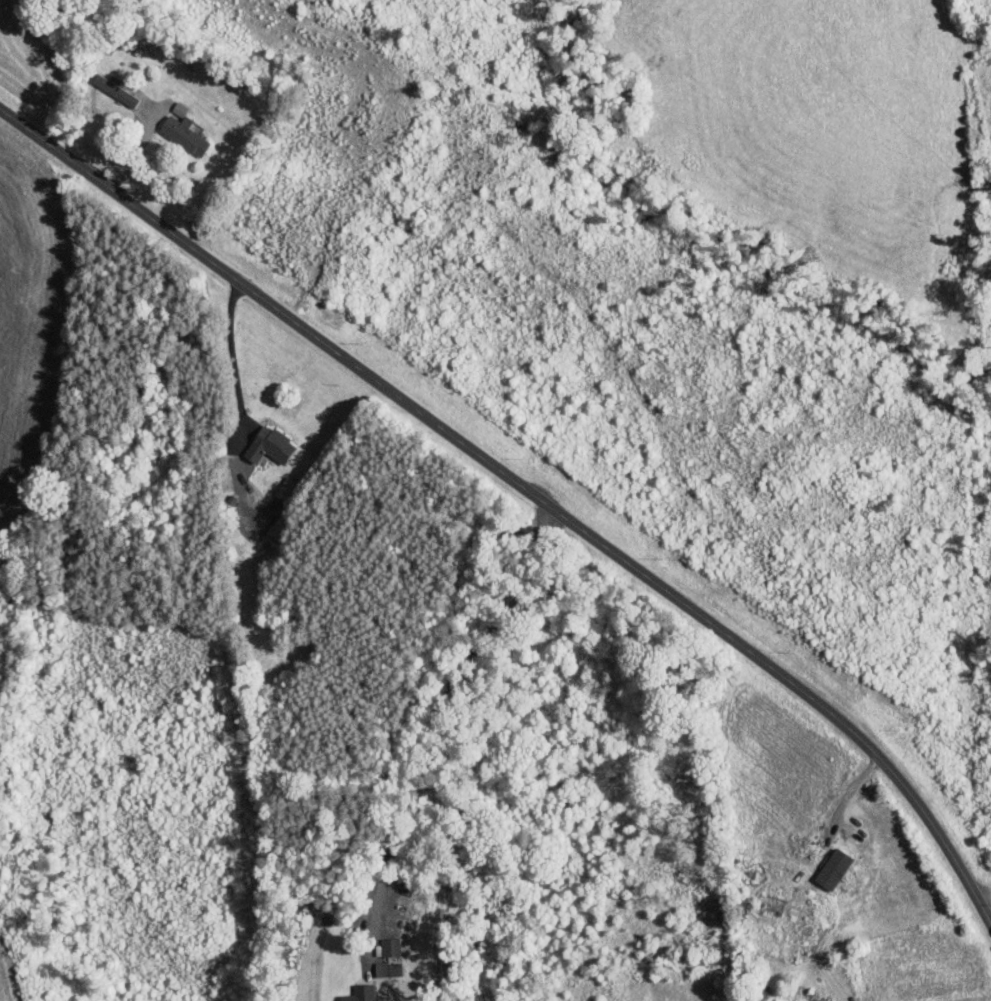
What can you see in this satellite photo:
building: (182, 130)
road: (232, 347)
building: (268, 445)
road: (523, 487)
road: (437, 708)
building: (831, 867)
road: (985, 895)
building: (389, 946)
road: (825, 971)

